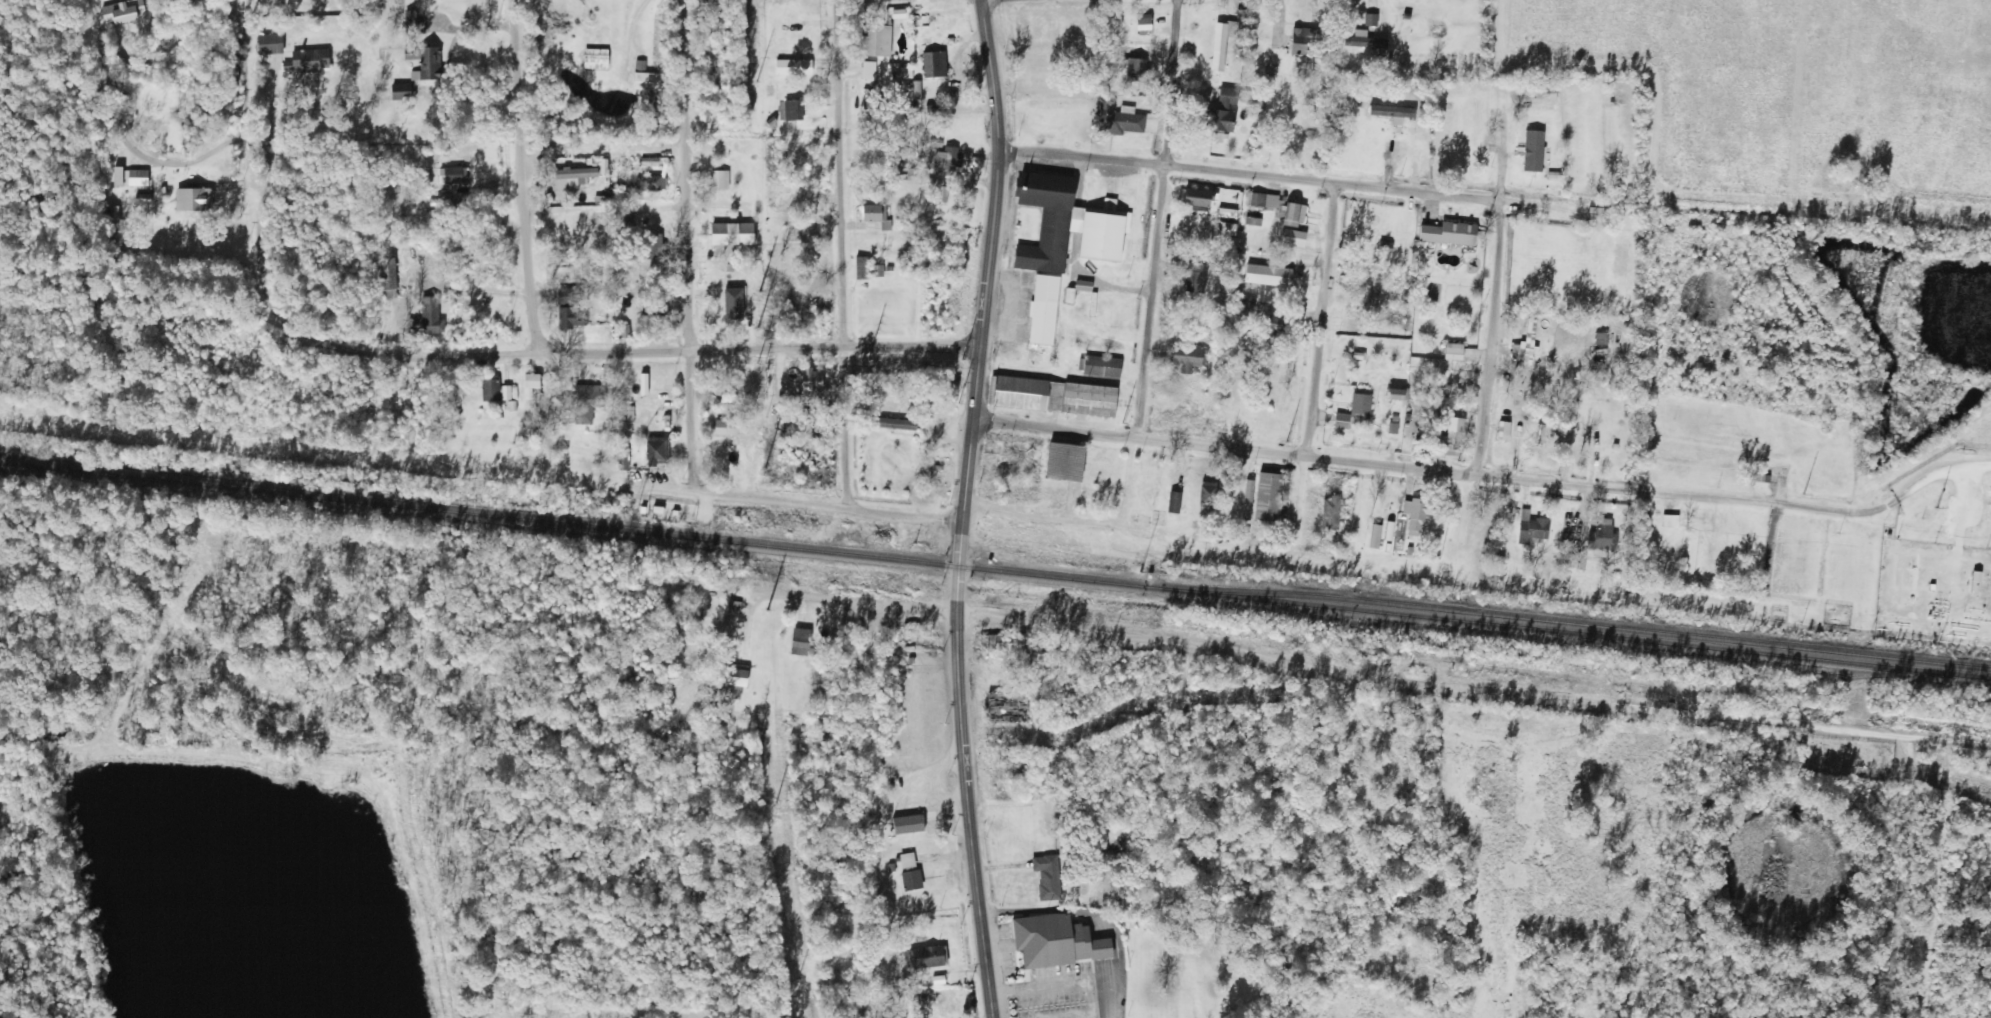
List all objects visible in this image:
building: (123, 11)
building: (414, 22)
building: (877, 40)
building: (1305, 41)
building: (1208, 42)
building: (1365, 42)
building: (270, 43)
building: (596, 58)
building: (310, 59)
building: (426, 60)
building: (934, 64)
building: (380, 66)
building: (1136, 69)
building: (716, 77)
building: (654, 81)
building: (1040, 86)
building: (1545, 87)
building: (402, 91)
building: (929, 92)
building: (794, 110)
building: (1222, 111)
building: (1116, 118)
building: (790, 150)
building: (951, 156)
road: (1251, 173)
building: (131, 177)
road: (517, 177)
building: (571, 177)
building: (719, 179)
building: (649, 183)
building: (936, 189)
building: (194, 198)
building: (1200, 198)
building: (1279, 207)
building: (624, 212)
building: (873, 213)
road: (1155, 217)
building: (1047, 219)
building: (1228, 228)
building: (1449, 233)
building: (733, 234)
road: (684, 245)
building: (650, 247)
road: (838, 253)
building: (388, 273)
building: (1268, 275)
building: (1194, 277)
building: (569, 296)
building: (1246, 307)
building: (1043, 309)
building: (653, 315)
building: (729, 315)
building: (431, 316)
building: (569, 317)
road: (1320, 318)
building: (1535, 335)
building: (1600, 343)
road: (1484, 344)
building: (1454, 351)
road: (407, 357)
building: (1186, 357)
building: (1102, 366)
building: (812, 379)
building: (532, 381)
building: (490, 388)
building: (1398, 394)
building: (1053, 396)
building: (585, 402)
building: (1354, 413)
building: (893, 423)
building: (726, 427)
building: (1453, 433)
building: (1596, 438)
building: (656, 450)
building: (1064, 471)
road: (1486, 479)
building: (1208, 496)
building: (1269, 497)
building: (1247, 500)
road: (827, 504)
road: (962, 508)
building: (1330, 513)
building: (1417, 513)
building: (1669, 521)
building: (1532, 527)
building: (1711, 555)
road: (2, 569)
railway: (995, 570)
building: (1977, 581)
road: (852, 602)
railway: (1570, 622)
building: (994, 643)
building: (736, 680)
road: (1471, 691)
building: (1008, 707)
building: (1013, 771)
building: (1391, 789)
building: (909, 824)
building: (909, 871)
building: (1047, 877)
building: (1058, 941)
building: (926, 957)
road: (954, 1008)

